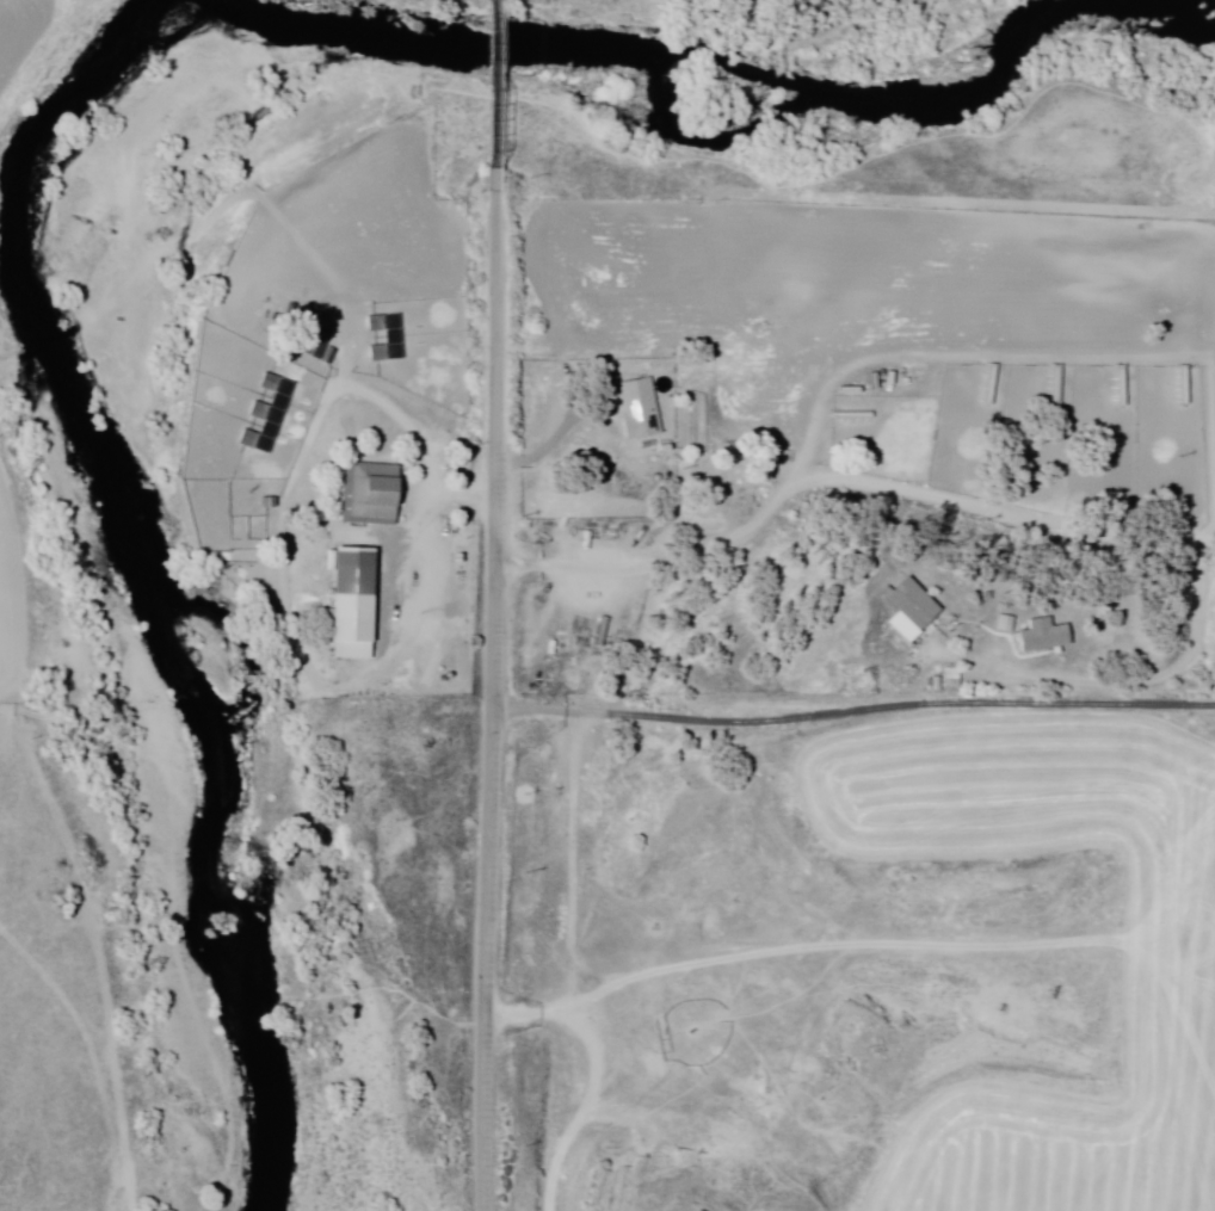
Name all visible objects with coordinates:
river: (643, 27)
river: (550, 30)
river: (464, 58)
road: (492, 94)
road: (853, 370)
river: (118, 400)
building: (634, 408)
building: (366, 495)
river: (138, 586)
building: (349, 605)
building: (906, 610)
building: (1041, 636)
road: (492, 700)
road: (797, 956)
river: (189, 1070)
crop: (1093, 1095)
river: (227, 1209)

